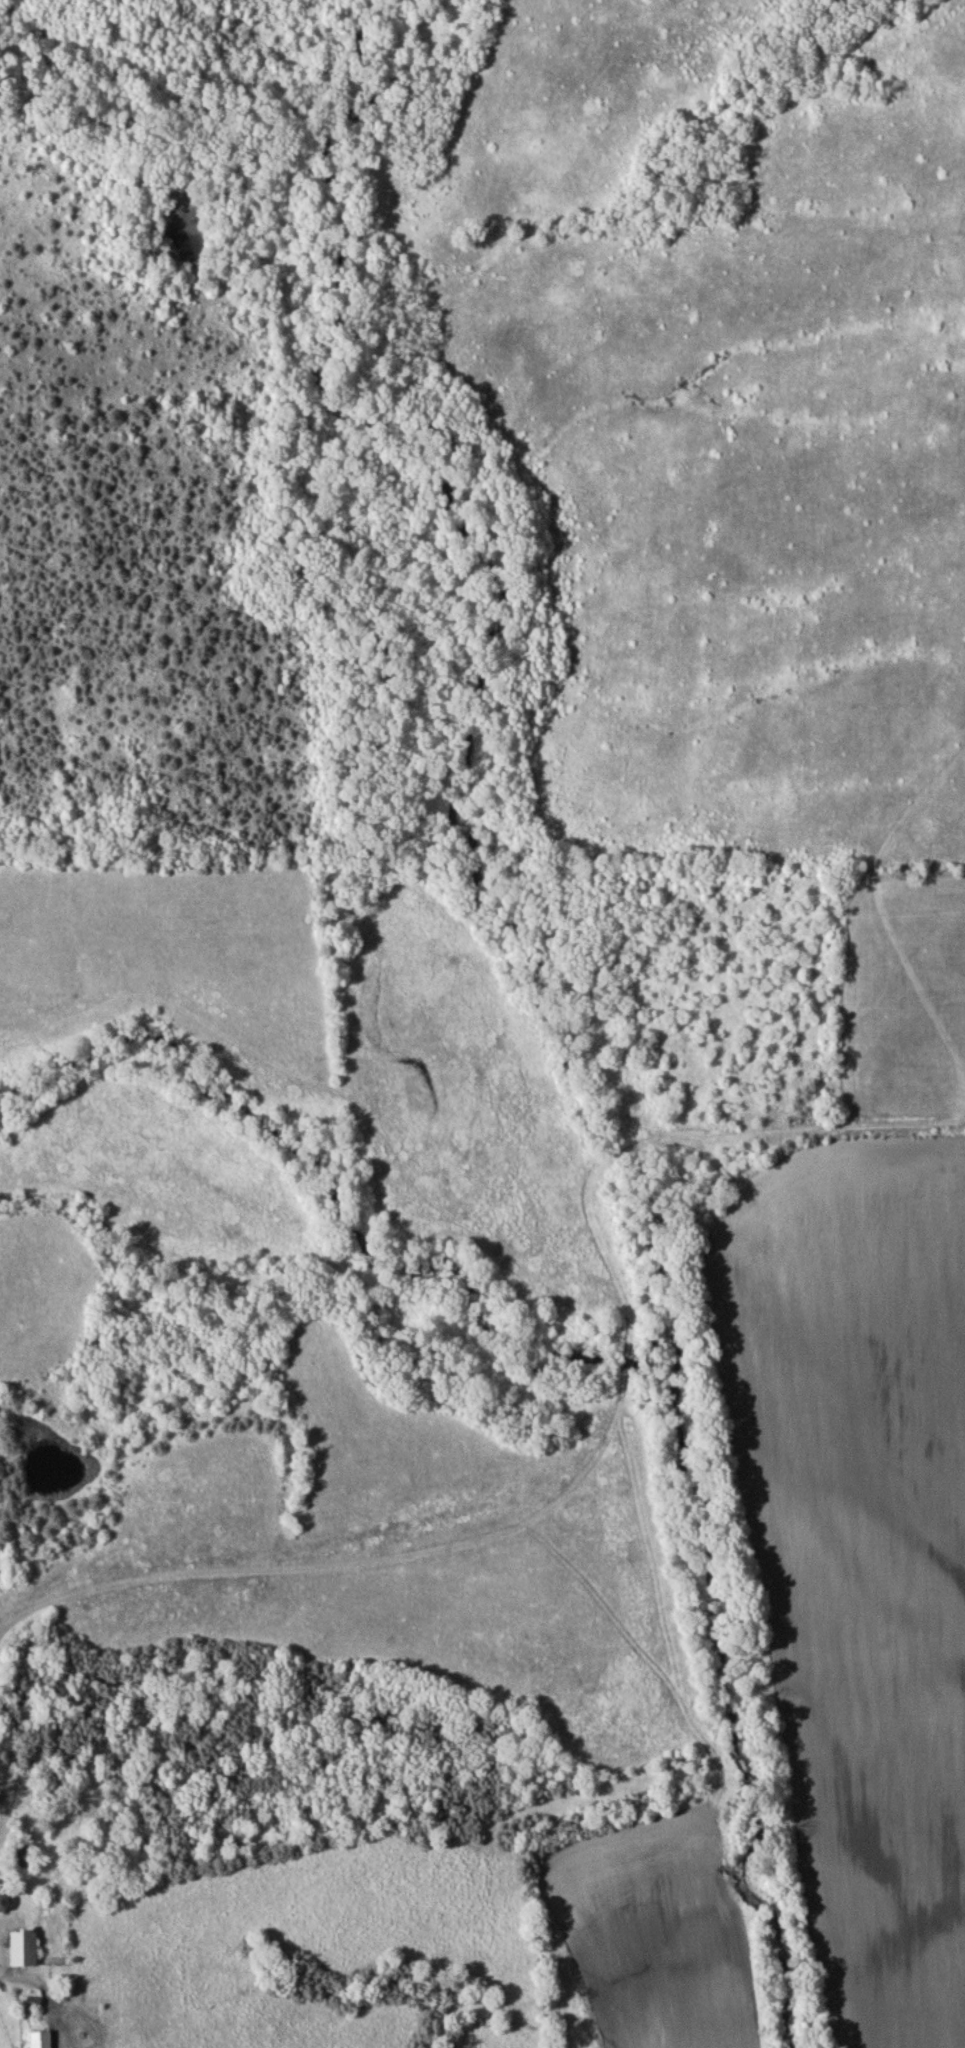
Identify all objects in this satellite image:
building: (5, 1903)
building: (25, 1947)
building: (42, 2039)

